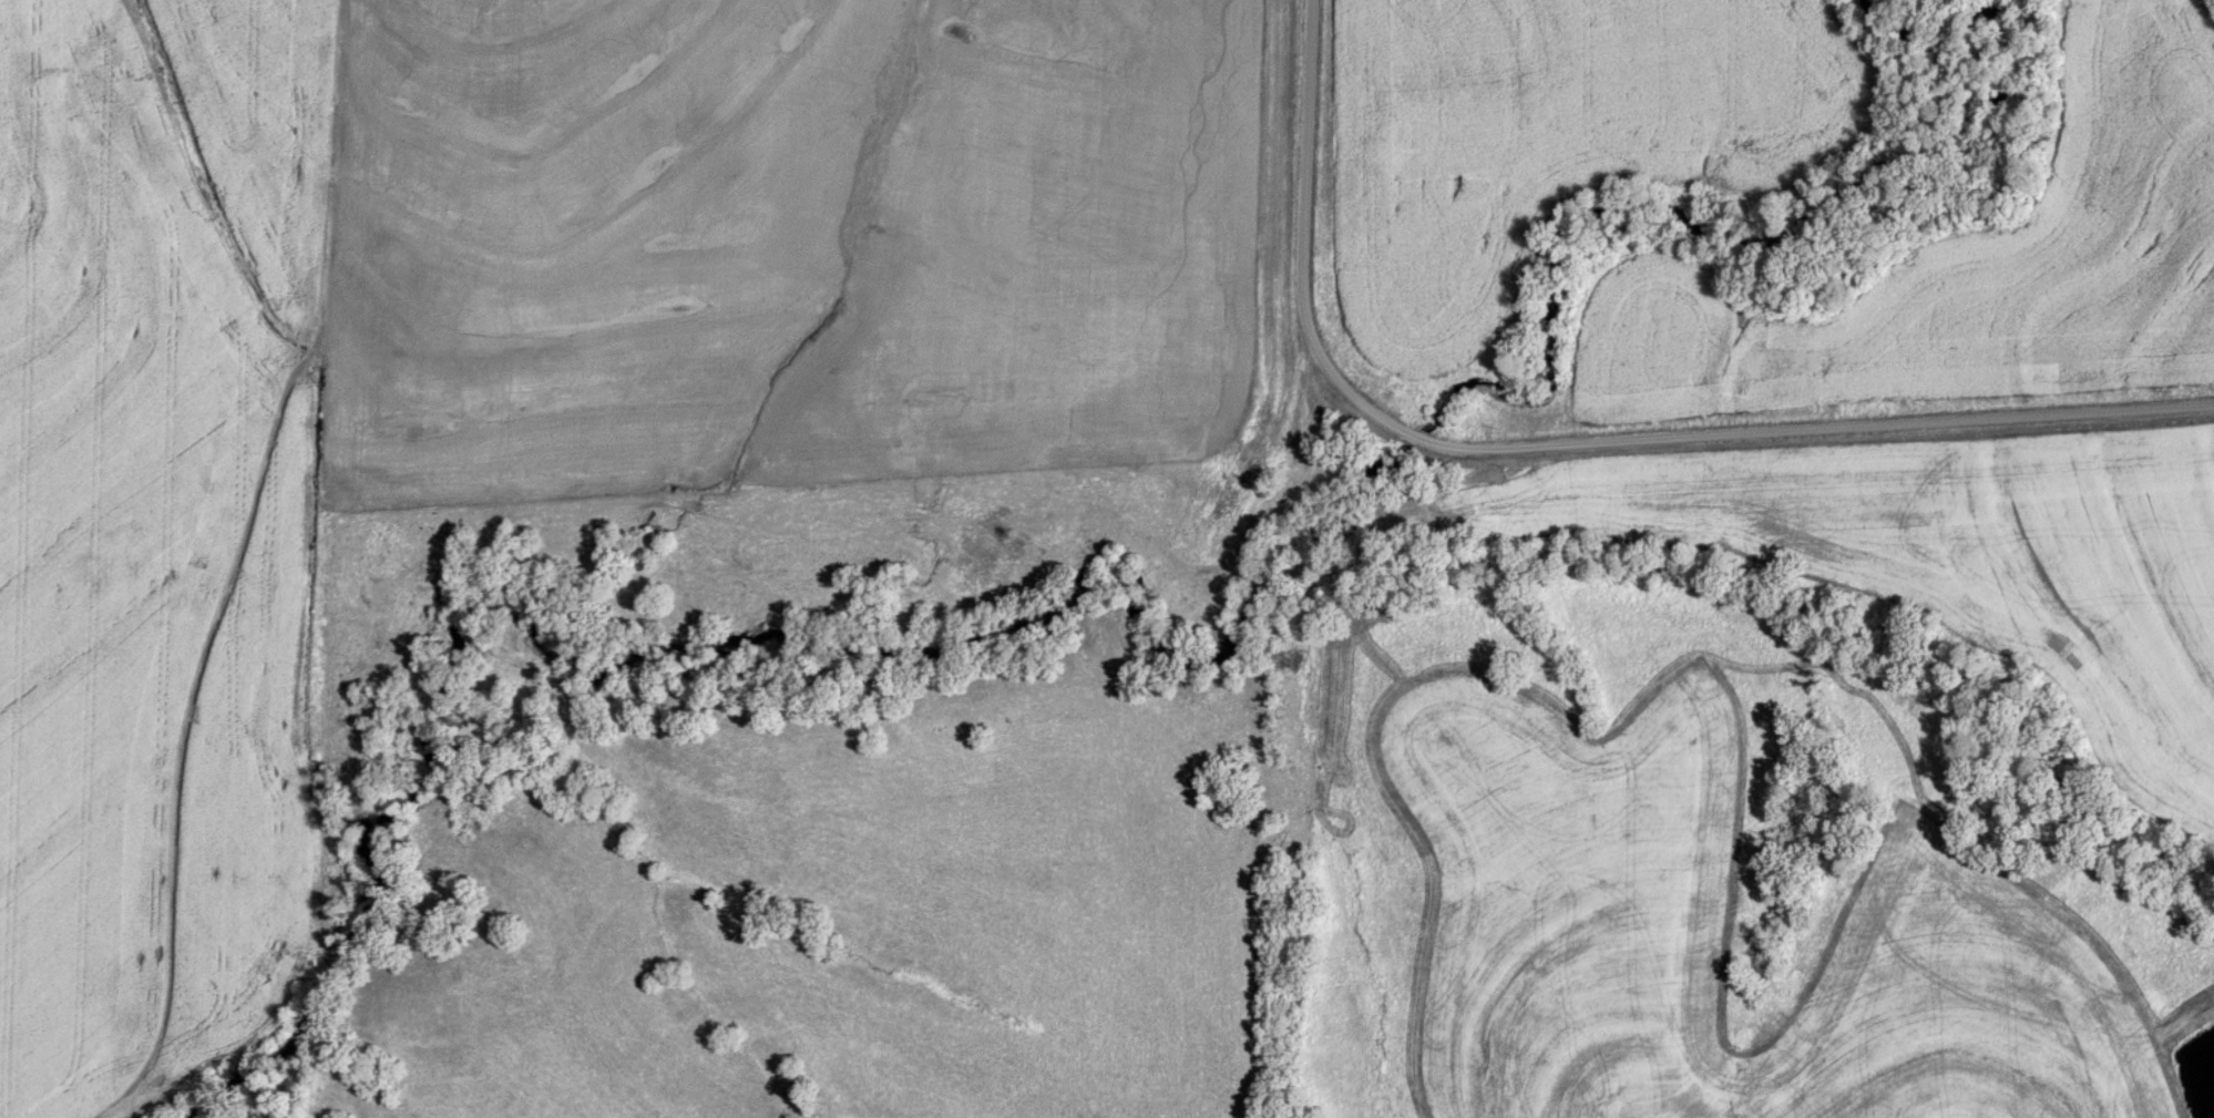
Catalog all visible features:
road: (1571, 439)

